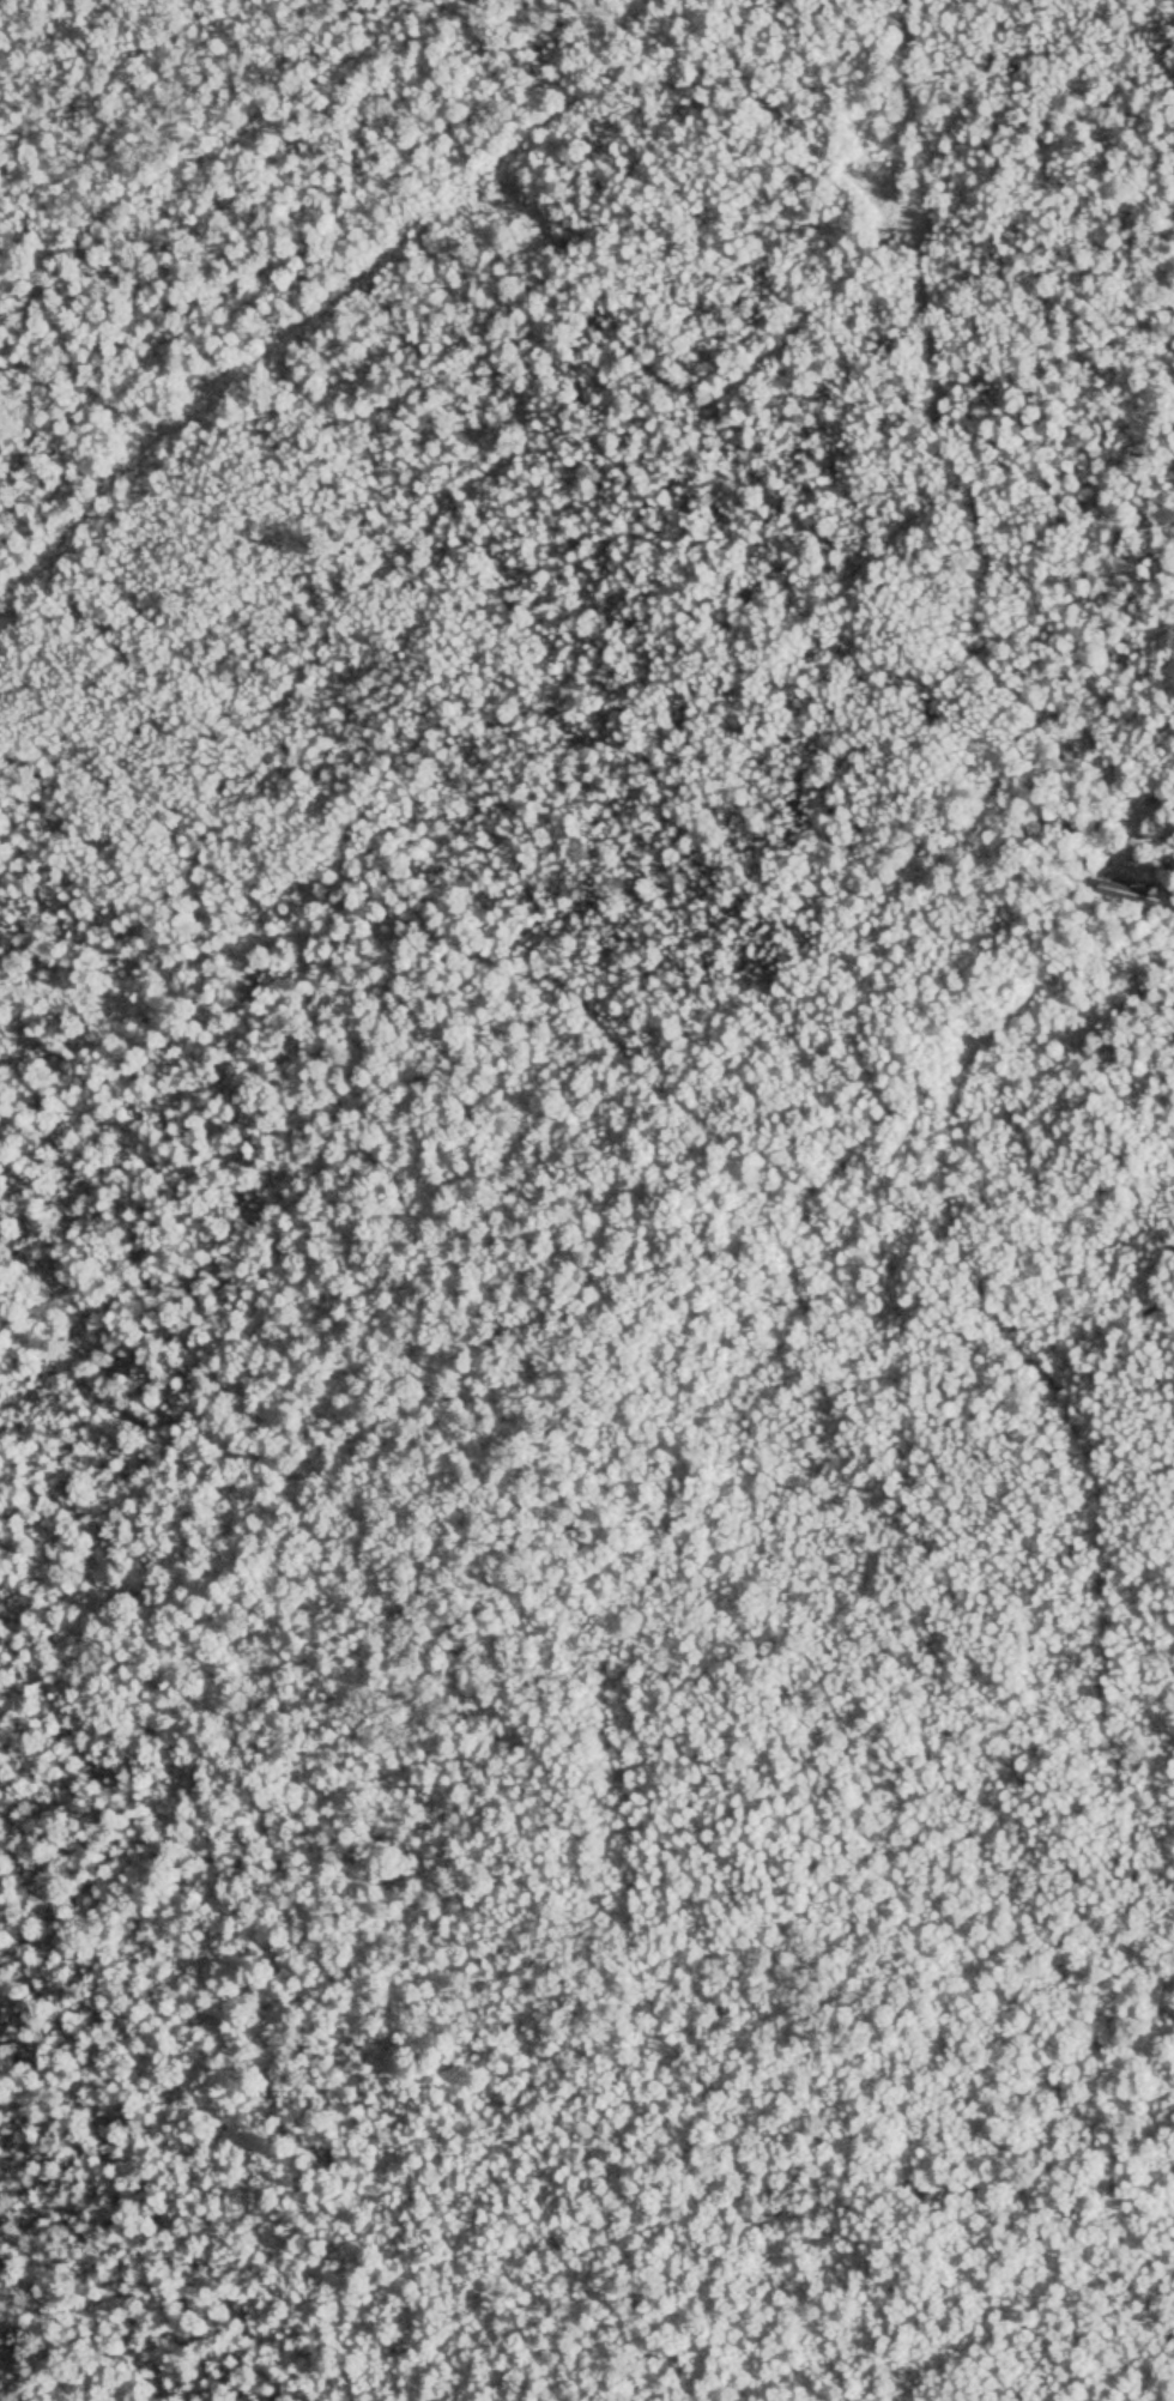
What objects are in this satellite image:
road: (228, 389)

